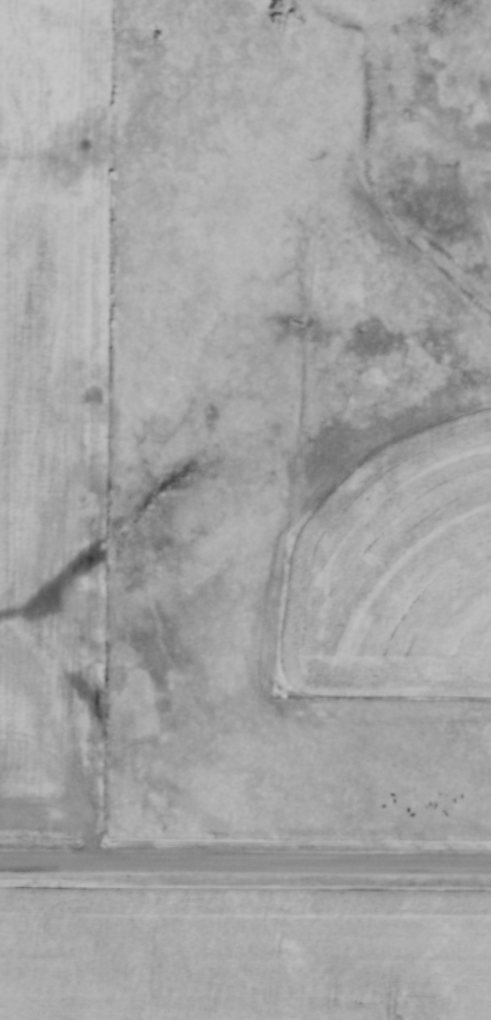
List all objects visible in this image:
road: (245, 863)

